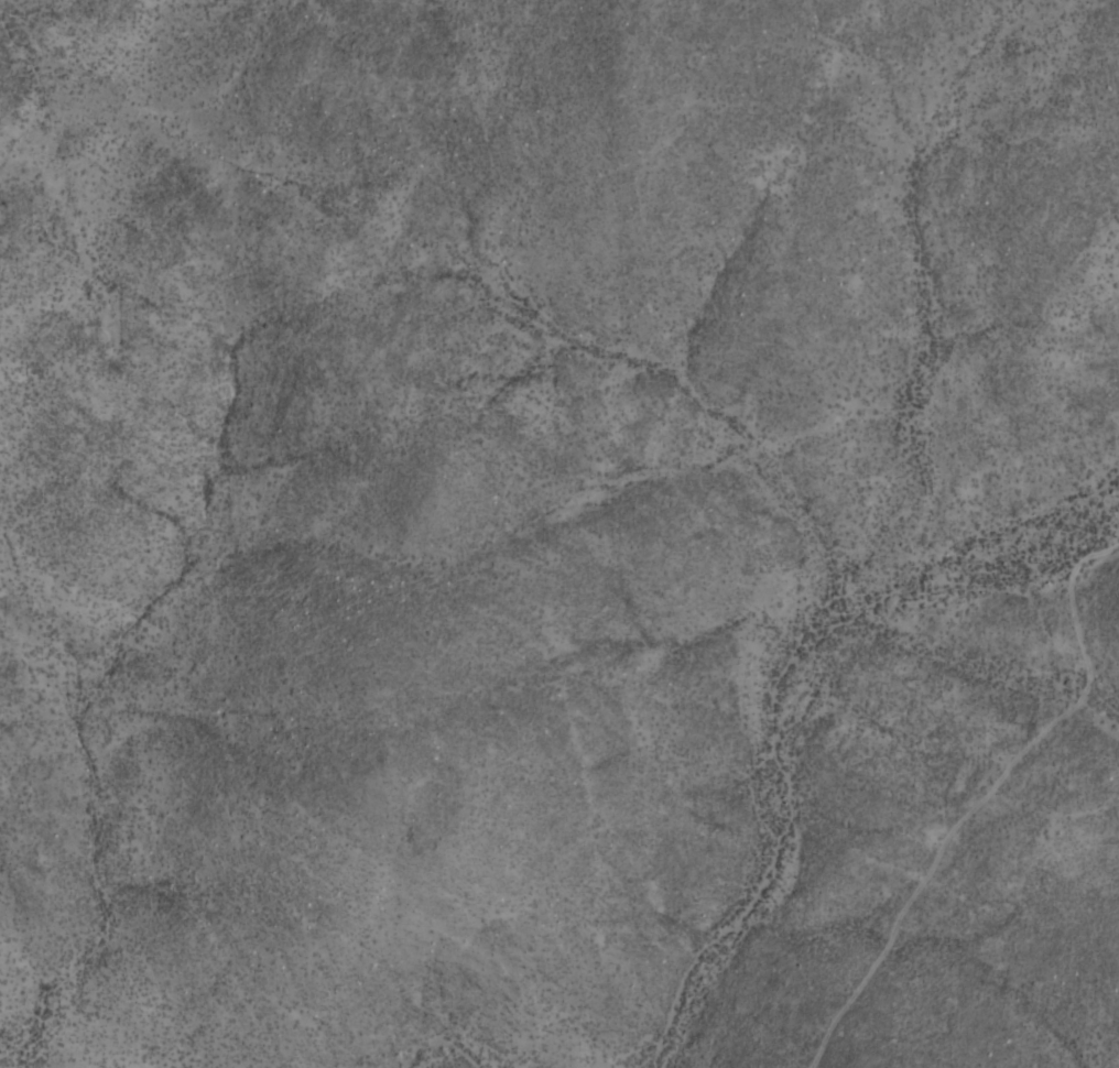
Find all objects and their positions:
road: (996, 807)

